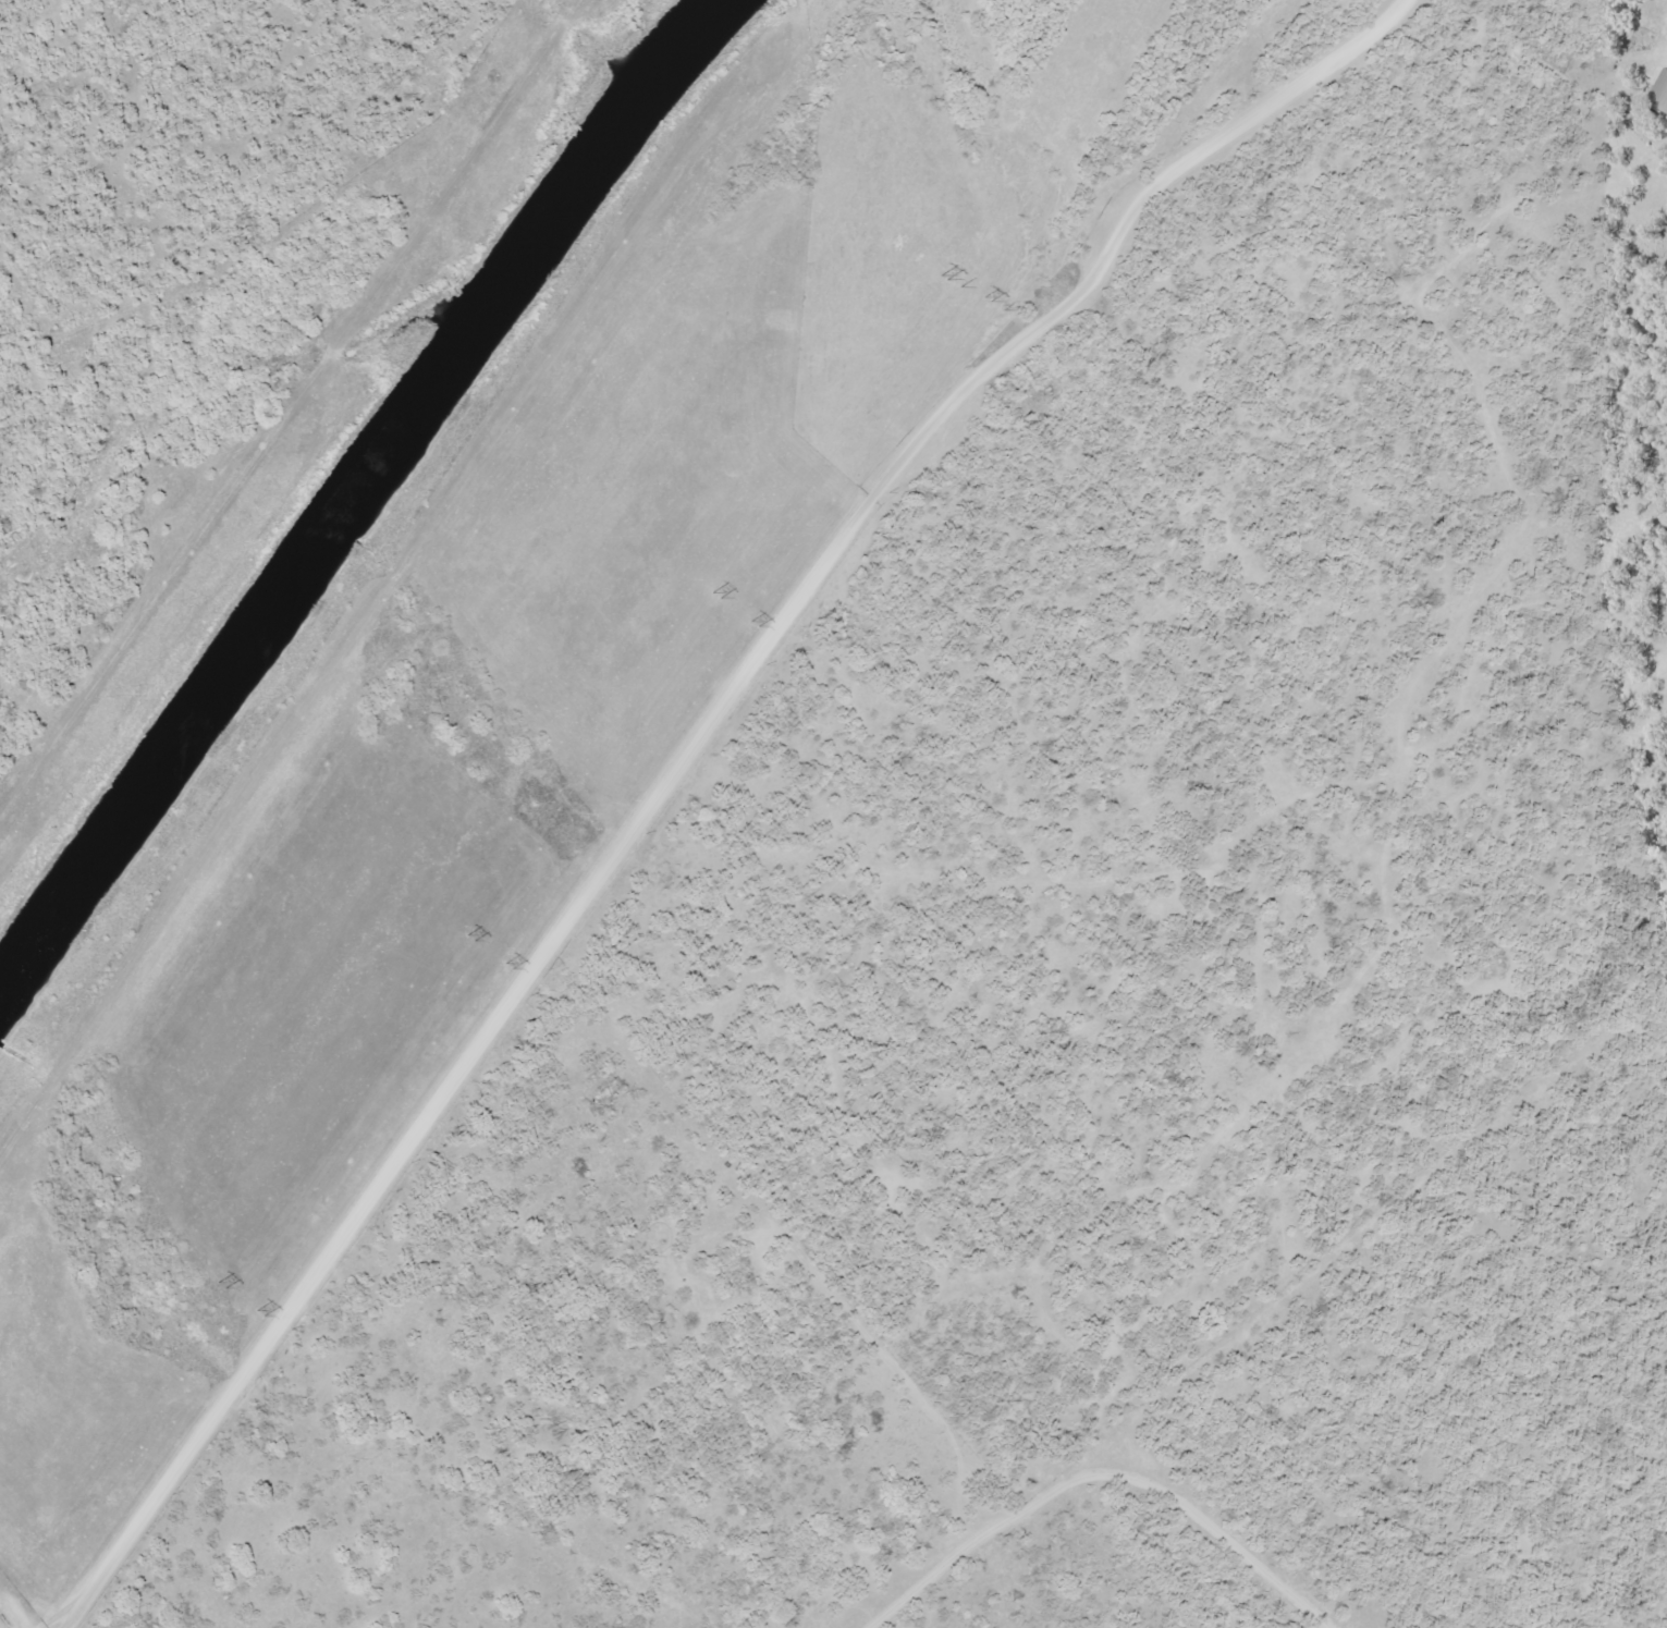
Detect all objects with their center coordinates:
building: (1660, 94)
power tower: (955, 281)
power tower: (984, 298)
road: (1046, 327)
road: (290, 404)
power tower: (715, 595)
power tower: (752, 623)
road: (363, 631)
power tower: (469, 939)
power tower: (507, 965)
road: (392, 1170)
power tower: (221, 1286)
power tower: (258, 1312)
road: (1102, 1476)

